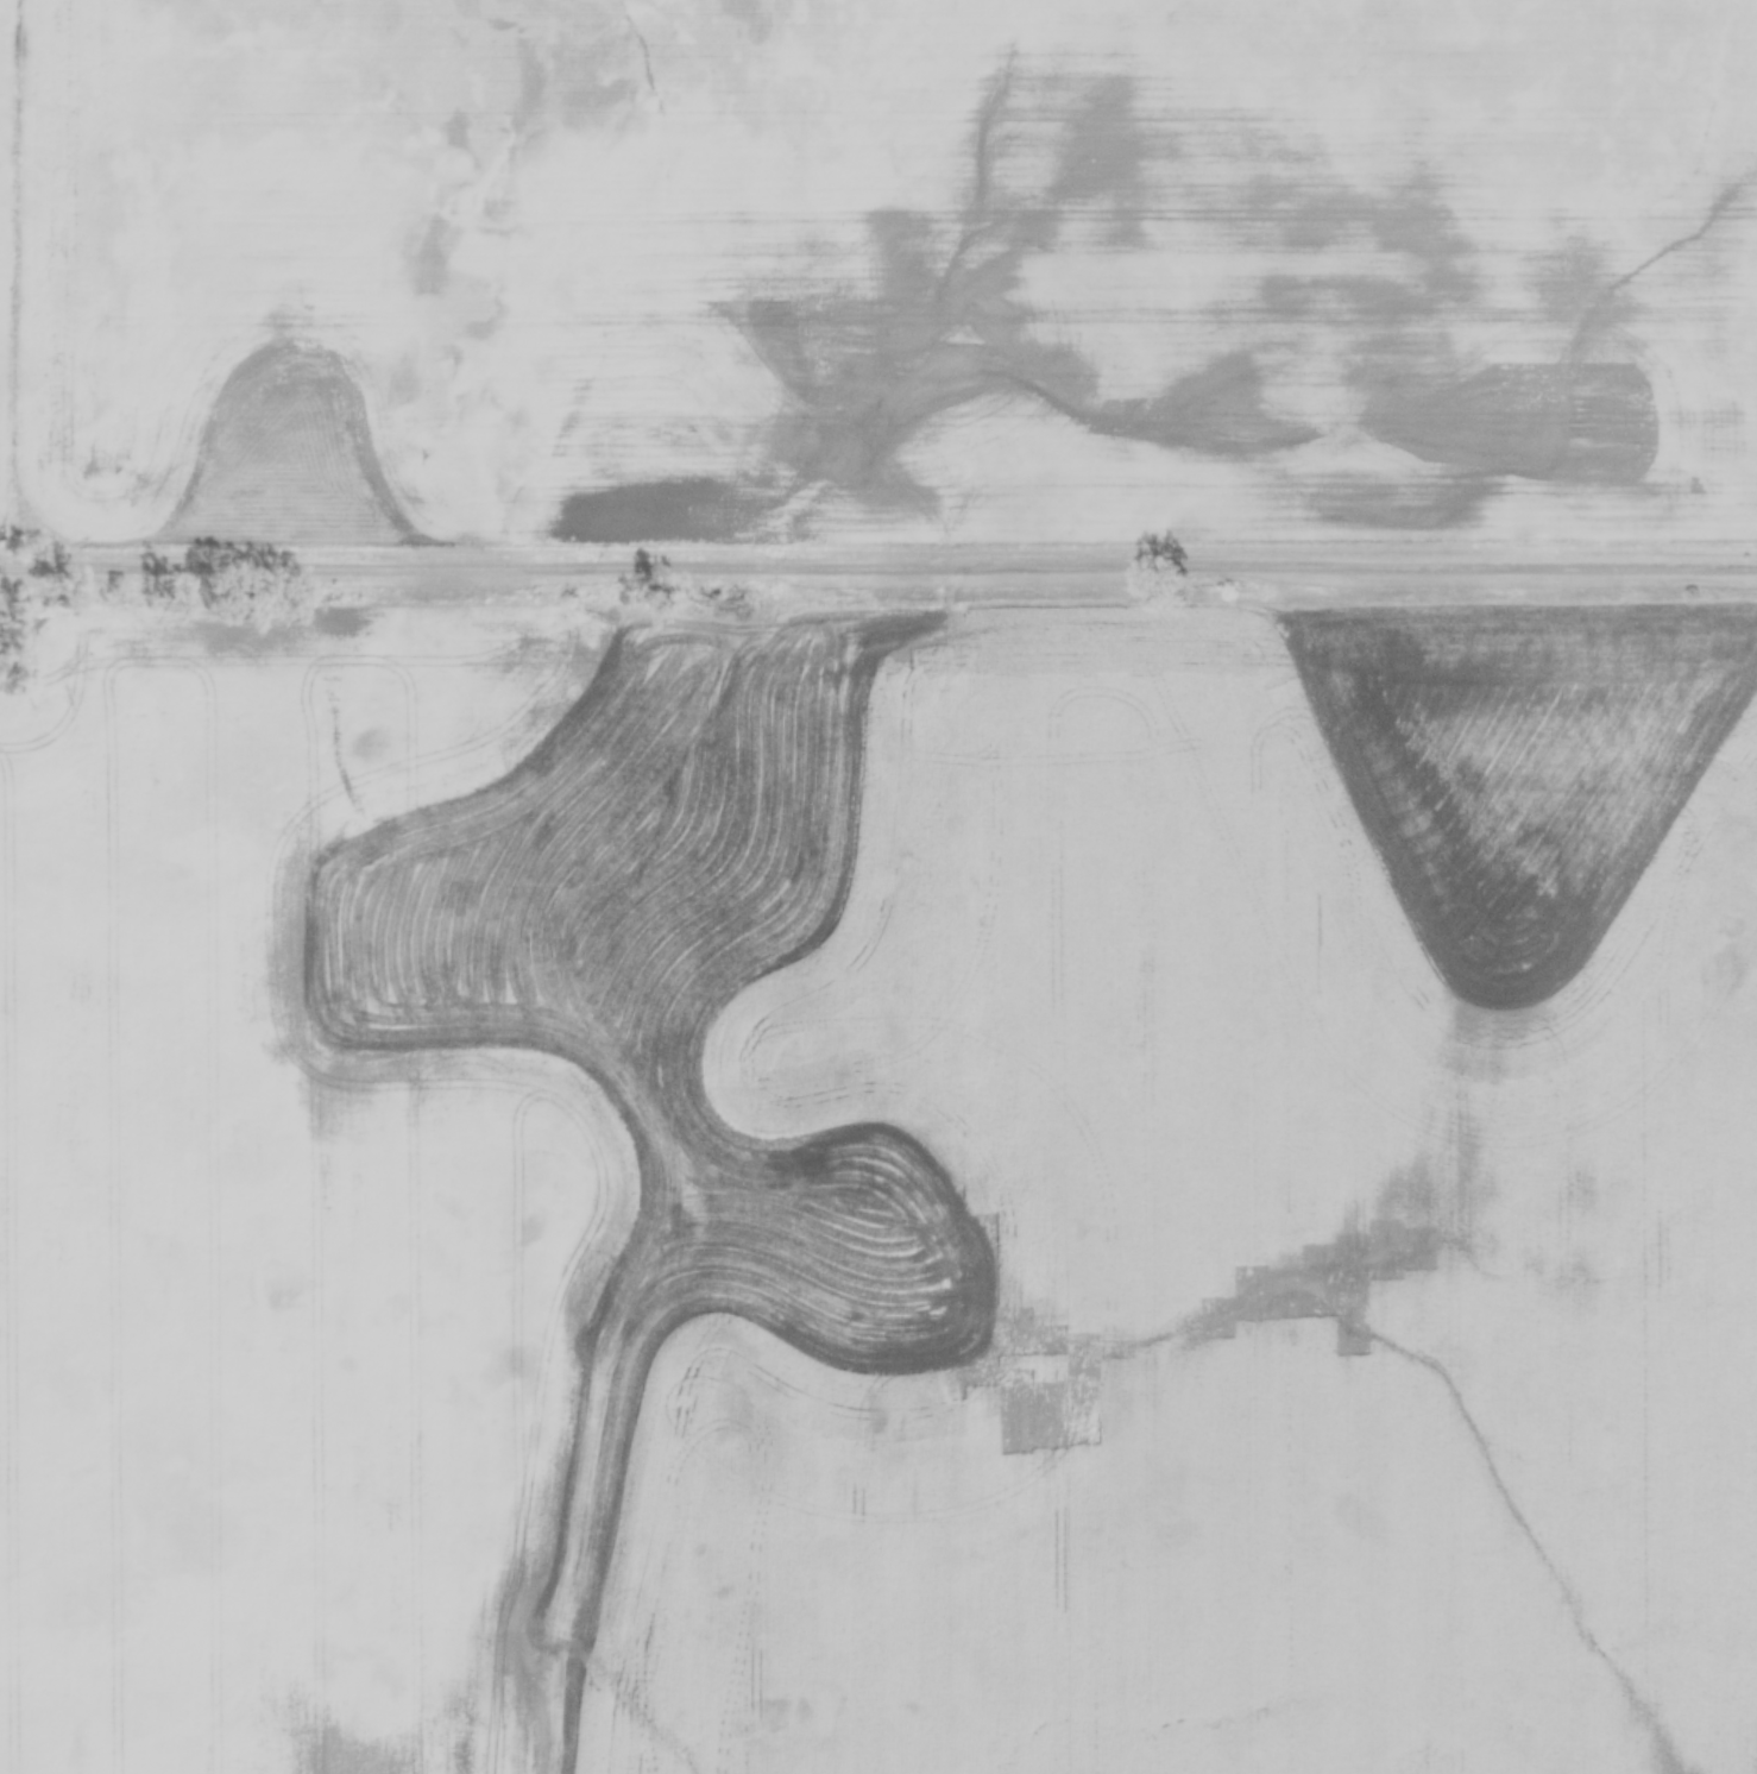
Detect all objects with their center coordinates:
road: (878, 570)

